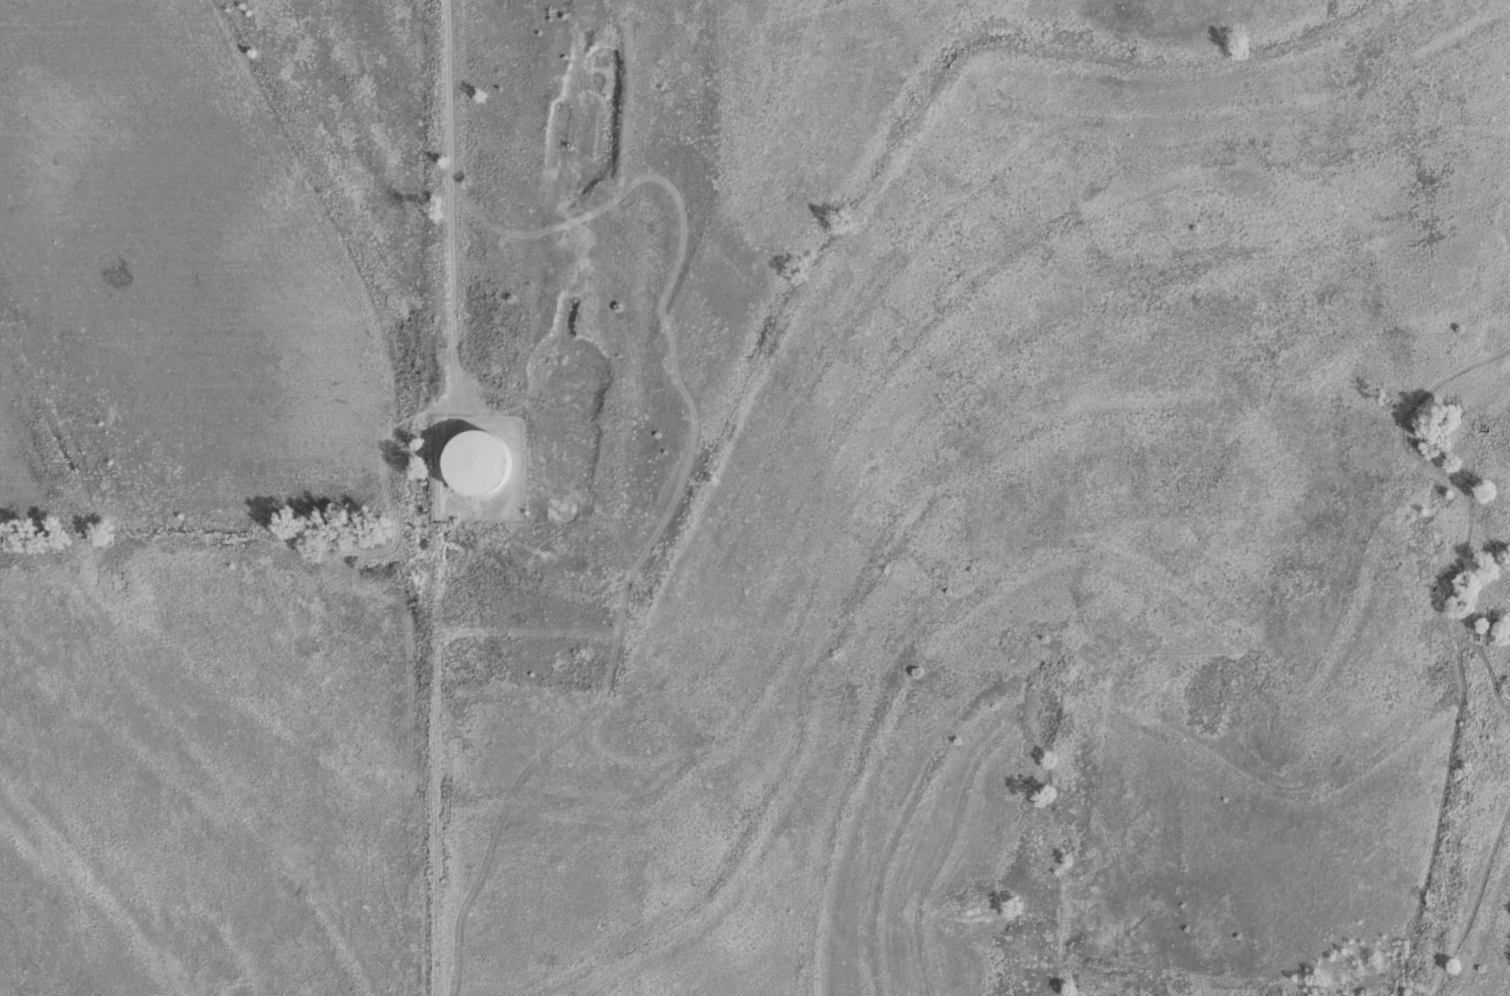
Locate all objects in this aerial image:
building: (479, 459)

